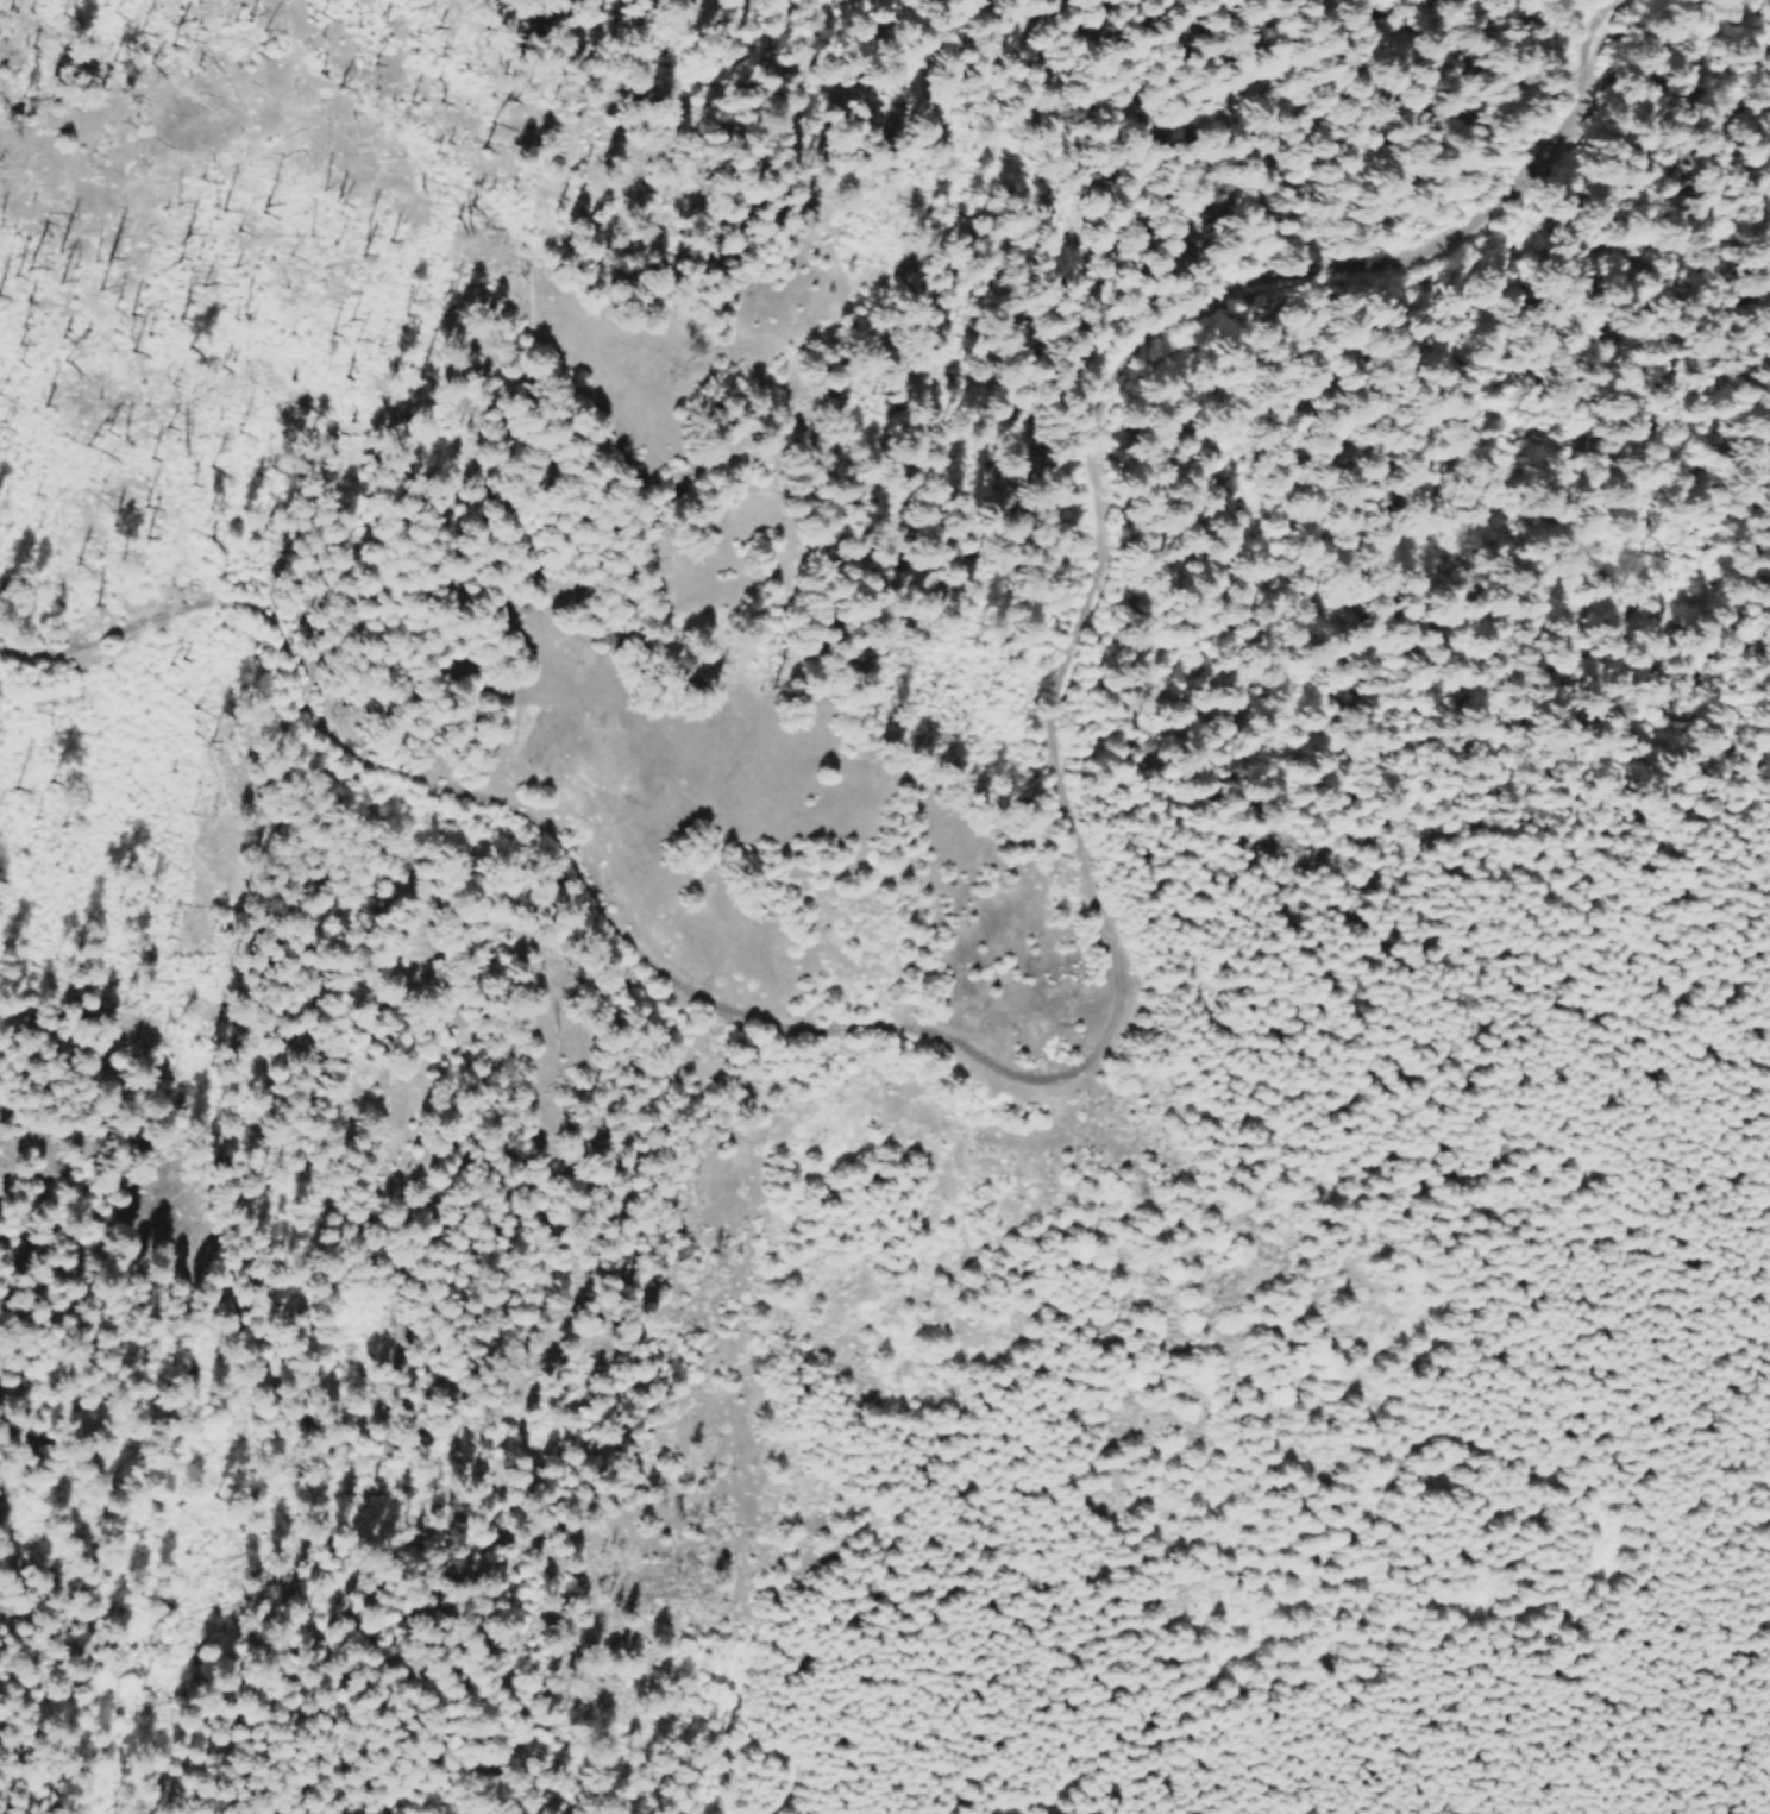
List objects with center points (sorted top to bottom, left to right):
road: (1103, 1016)

